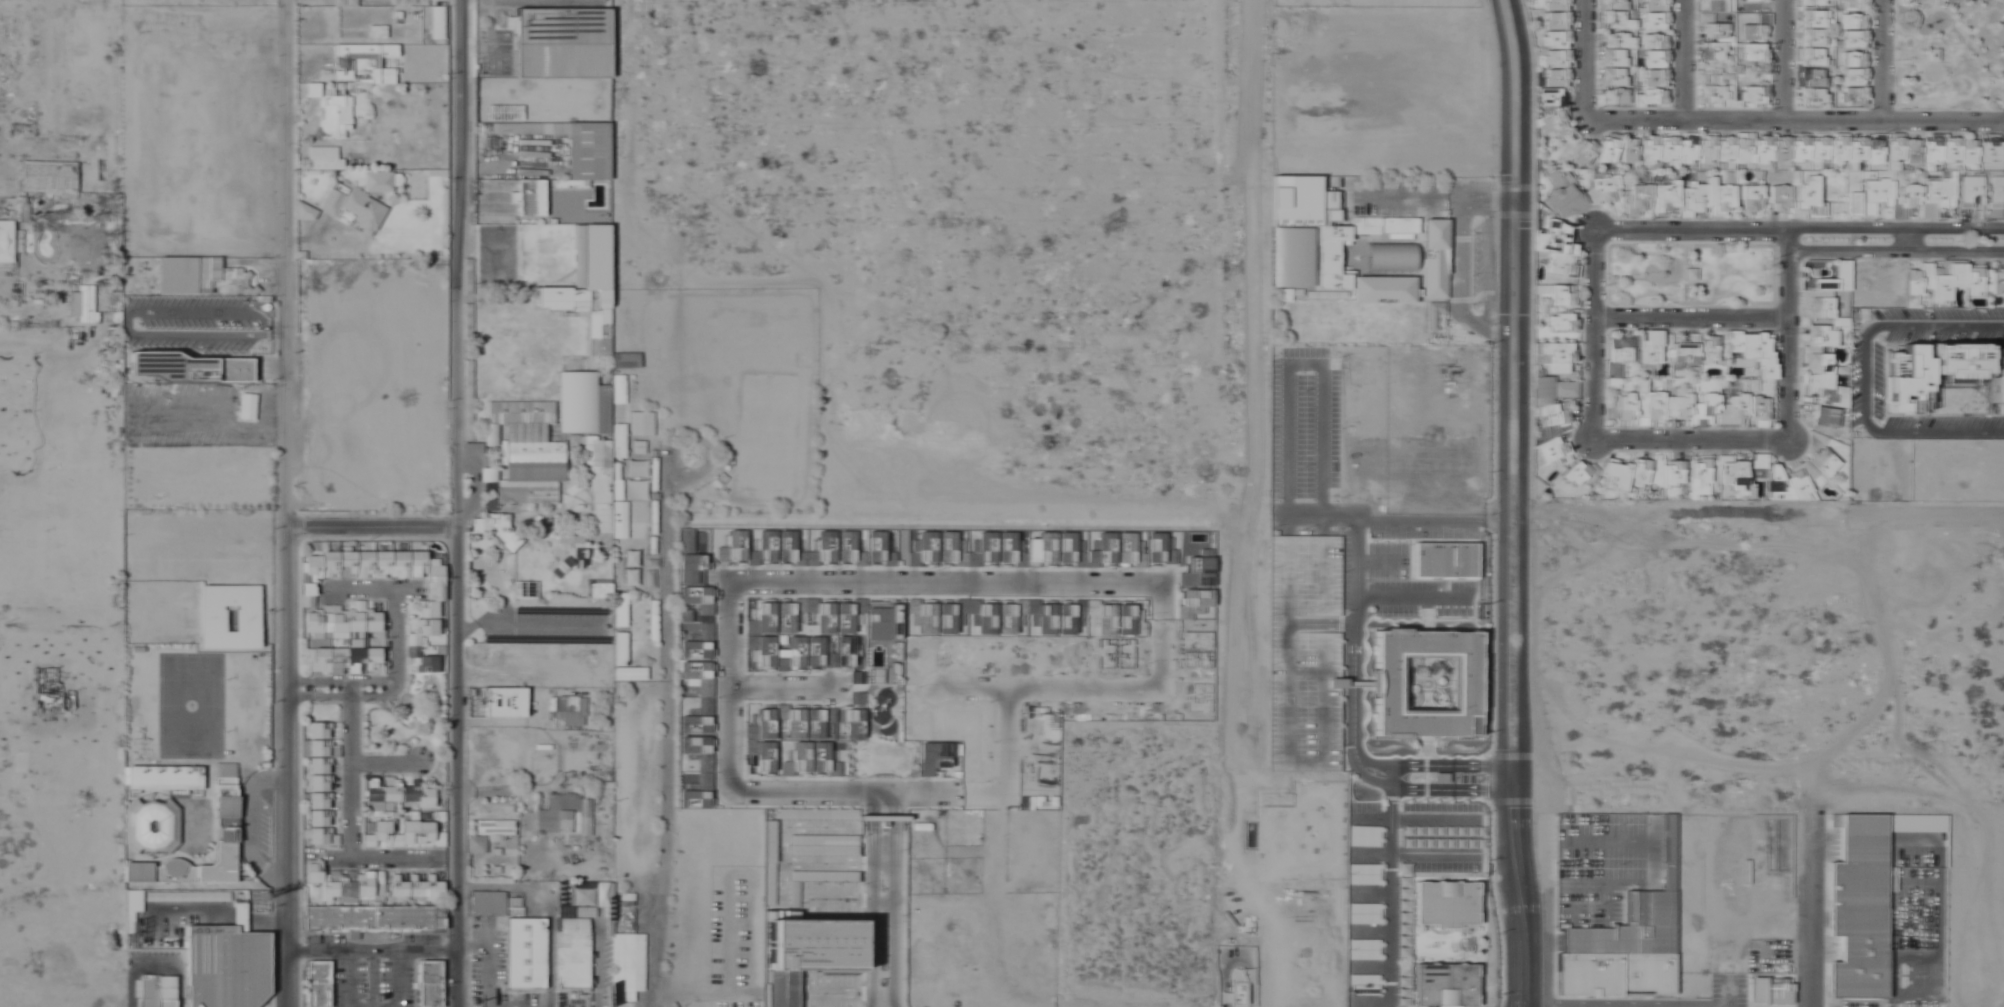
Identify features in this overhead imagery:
park: (1693, 269)

